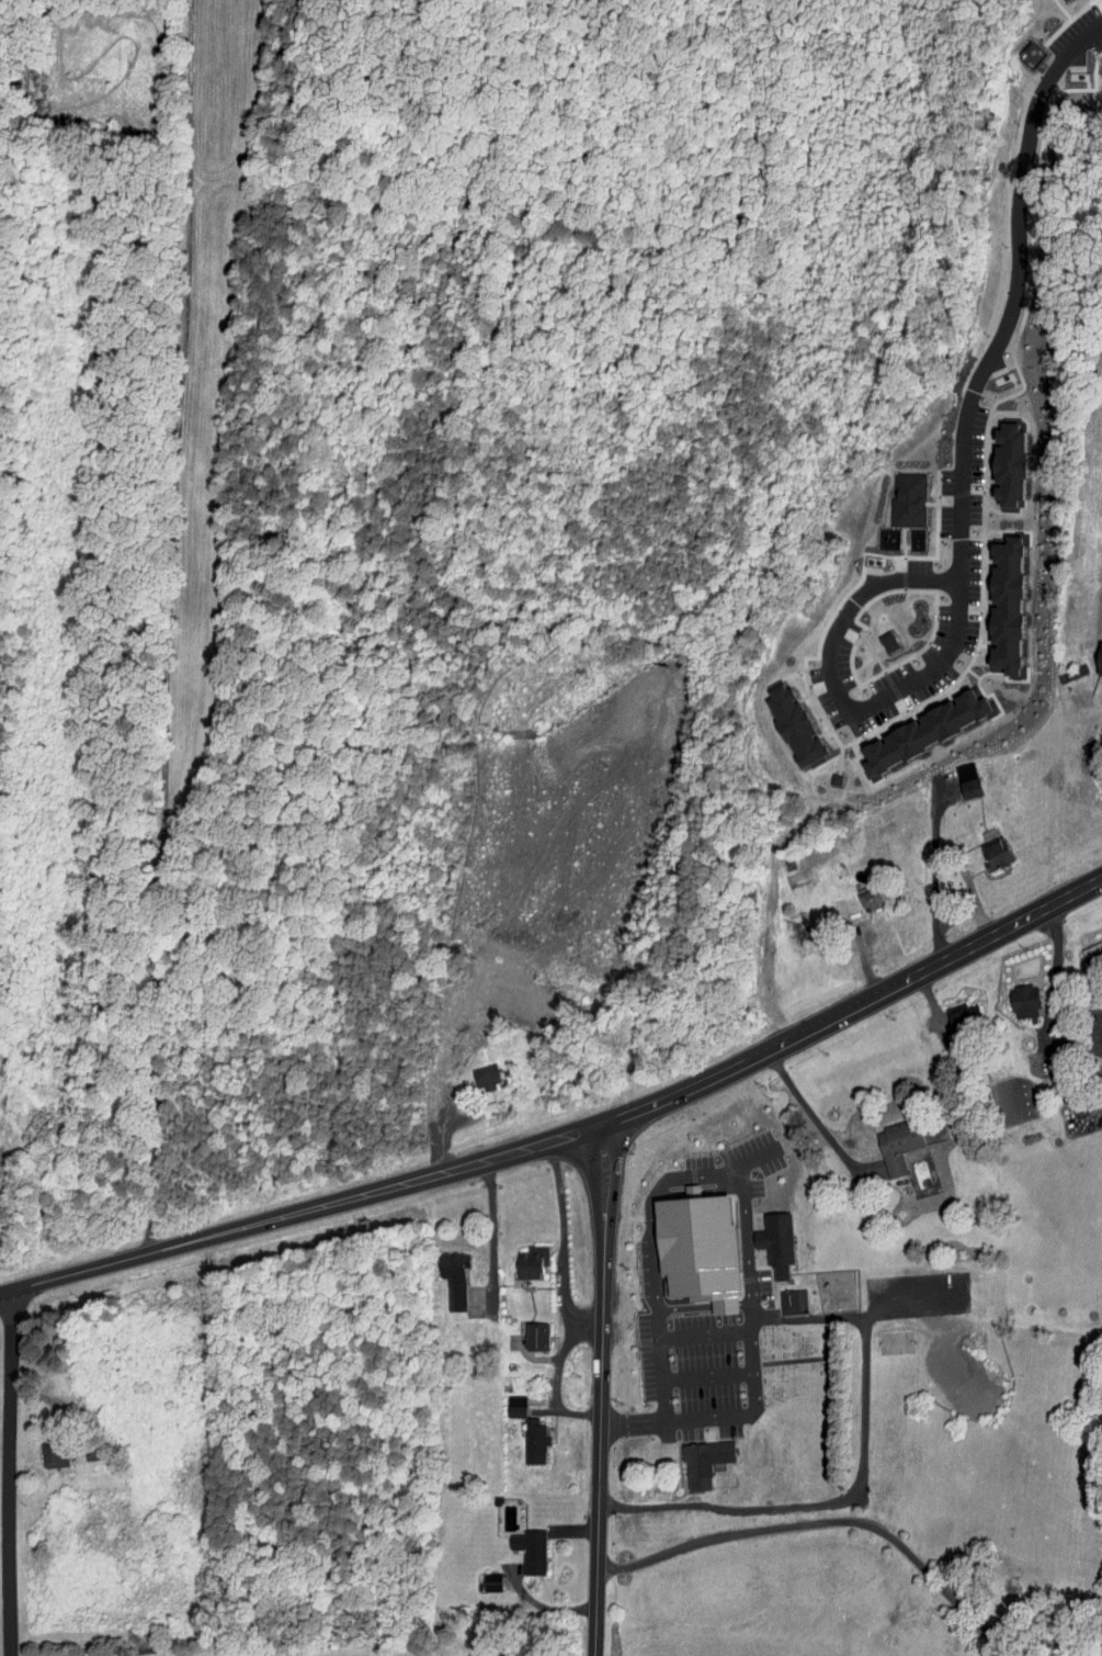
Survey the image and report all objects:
road: (1014, 286)
building: (1003, 459)
building: (901, 494)
building: (1002, 600)
building: (1095, 652)
road: (840, 686)
building: (789, 722)
building: (921, 726)
building: (966, 779)
building: (993, 854)
road: (931, 858)
building: (871, 899)
building: (853, 911)
road: (950, 921)
road: (863, 959)
building: (958, 1017)
building: (487, 1075)
building: (446, 1093)
road: (814, 1120)
road: (571, 1140)
building: (894, 1147)
road: (666, 1195)
road: (491, 1231)
building: (773, 1242)
building: (694, 1249)
building: (530, 1262)
building: (451, 1277)
road: (565, 1300)
building: (792, 1302)
road: (750, 1303)
road: (587, 1331)
building: (533, 1337)
road: (705, 1337)
road: (662, 1381)
road: (602, 1392)
building: (514, 1406)
road: (716, 1416)
building: (533, 1441)
building: (53, 1457)
building: (702, 1462)
road: (9, 1473)
road: (862, 1482)
road: (833, 1522)
building: (529, 1551)

